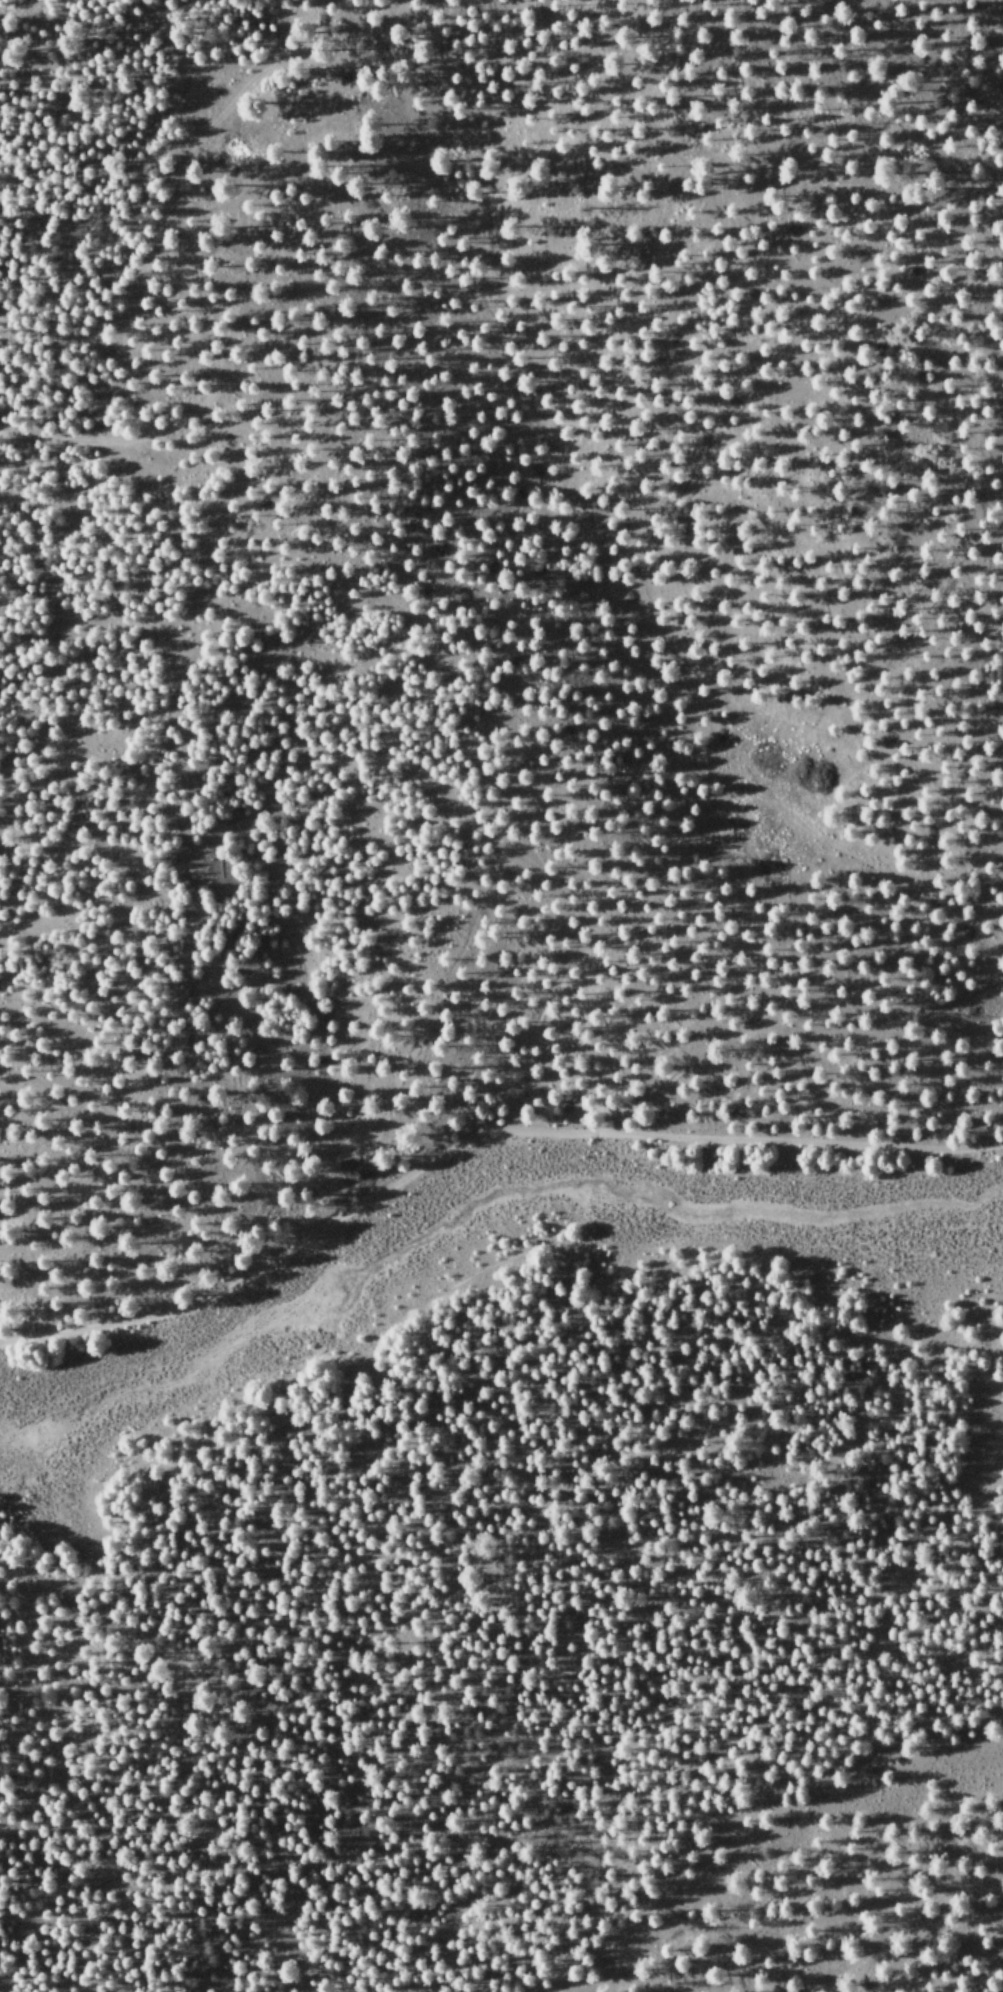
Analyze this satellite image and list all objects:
road: (500, 1332)

